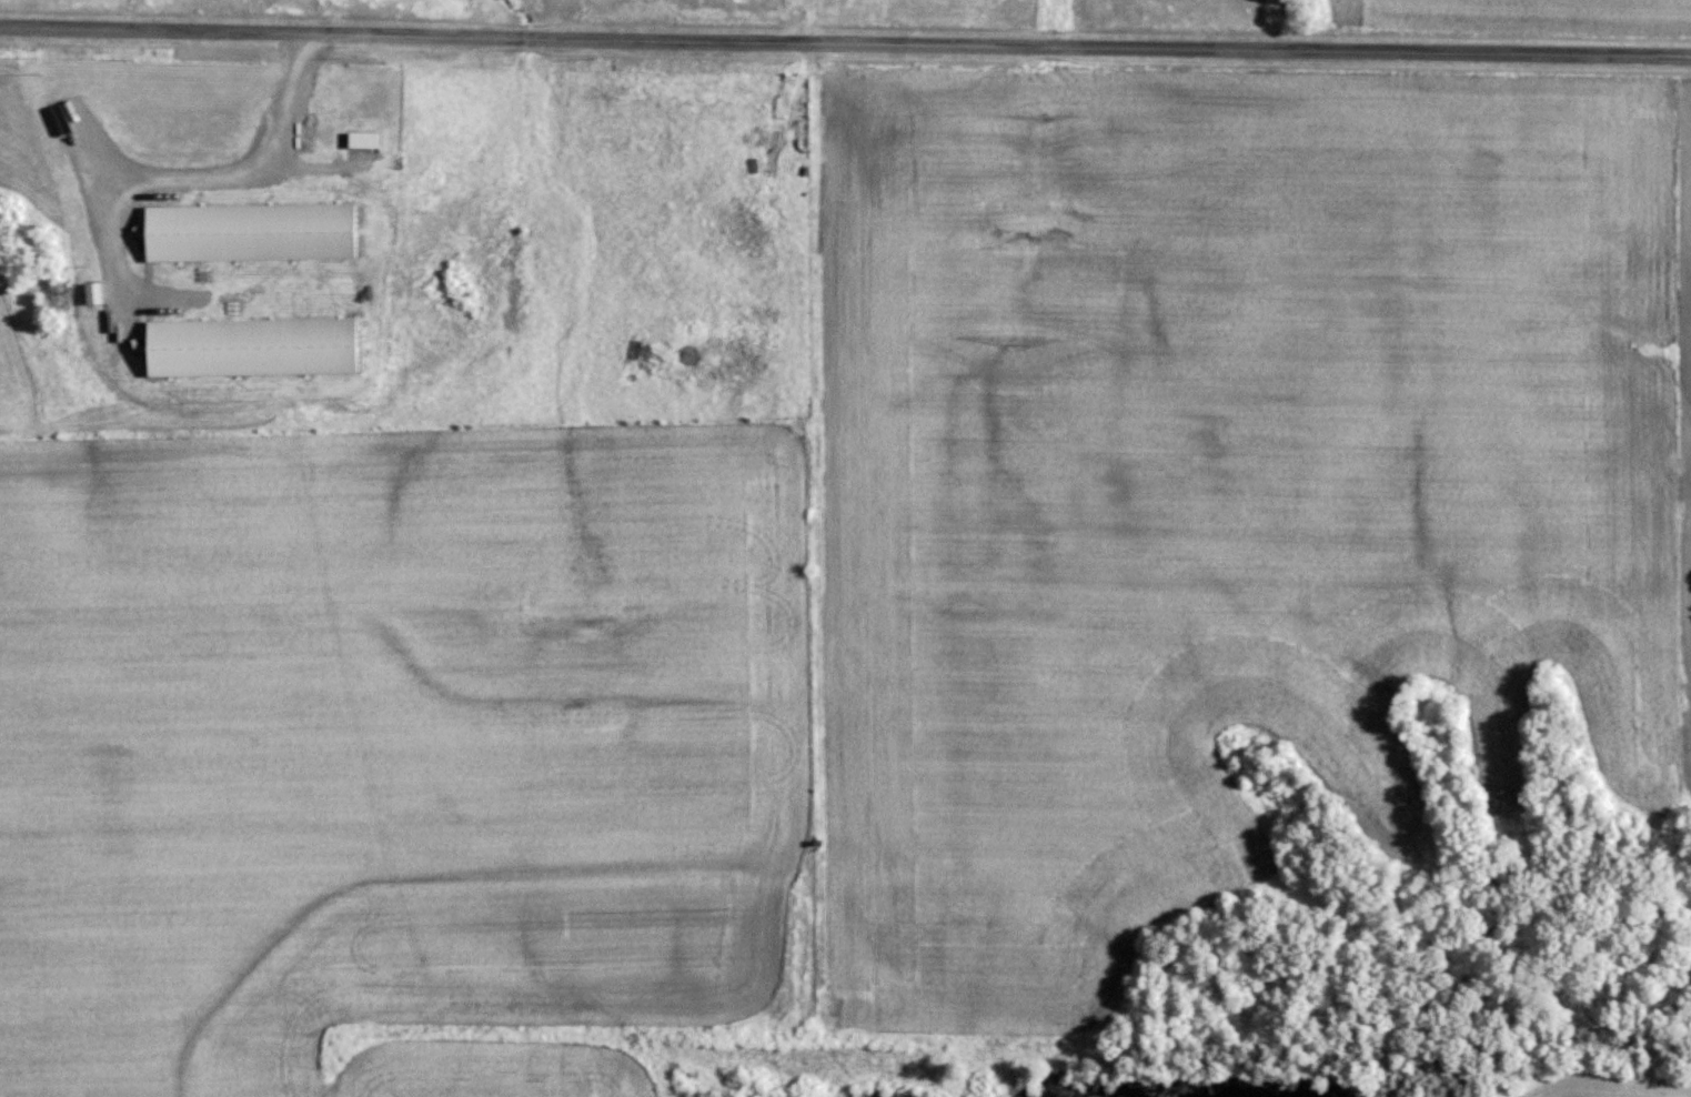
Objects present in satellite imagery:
road: (845, 41)
building: (534, 262)

